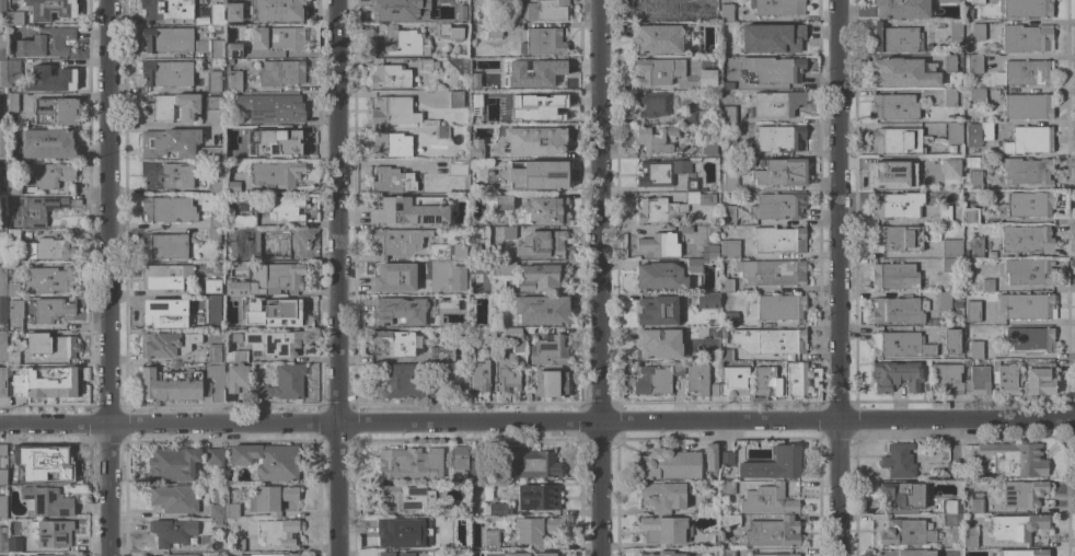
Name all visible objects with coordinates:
building: (423, 1)
building: (947, 1)
building: (976, 1)
building: (776, 7)
building: (708, 8)
building: (1026, 8)
building: (2, 9)
building: (48, 9)
building: (165, 9)
building: (655, 9)
building: (900, 9)
building: (277, 10)
building: (382, 10)
building: (544, 10)
building: (232, 12)
building: (726, 13)
building: (215, 14)
building: (968, 14)
building: (14, 19)
building: (492, 30)
building: (448, 32)
building: (978, 32)
building: (955, 33)
building: (281, 37)
building: (776, 37)
building: (894, 38)
building: (1026, 38)
building: (657, 39)
building: (171, 40)
building: (46, 42)
building: (400, 42)
building: (543, 42)
building: (2, 46)
building: (727, 46)
building: (216, 48)
building: (233, 50)
building: (9, 56)
building: (520, 63)
building: (948, 63)
building: (974, 63)
building: (427, 65)
building: (774, 69)
building: (12, 70)
building: (658, 71)
building: (280, 72)
building: (903, 72)
building: (2, 73)
building: (166, 73)
building: (1024, 73)
building: (545, 74)
building: (390, 77)
building: (50, 79)
building: (726, 79)
building: (706, 80)
building: (213, 81)
building: (234, 81)
building: (13, 90)
building: (973, 95)
building: (476, 96)
building: (949, 97)
building: (455, 100)
building: (213, 102)
building: (12, 103)
building: (651, 104)
building: (775, 104)
building: (171, 106)
building: (1028, 106)
building: (270, 107)
building: (893, 107)
building: (546, 108)
building: (393, 111)
building: (56, 112)
building: (481, 115)
building: (728, 115)
building: (694, 116)
building: (23, 124)
road: (161, 126)
building: (441, 131)
building: (955, 132)
building: (978, 134)
building: (227, 138)
building: (778, 138)
building: (654, 139)
building: (279, 140)
building: (535, 140)
building: (1028, 140)
building: (2, 141)
building: (895, 141)
building: (56, 142)
building: (170, 142)
building: (389, 143)
building: (727, 147)
building: (475, 149)
building: (702, 151)
building: (211, 153)
building: (238, 153)
building: (973, 162)
building: (456, 167)
building: (949, 169)
building: (2, 170)
building: (1027, 171)
building: (661, 172)
building: (779, 172)
building: (49, 174)
building: (276, 174)
building: (892, 174)
building: (165, 175)
building: (537, 175)
building: (391, 181)
building: (729, 182)
building: (215, 183)
building: (974, 183)
building: (691, 184)
building: (12, 186)
building: (232, 187)
building: (500, 202)
building: (1026, 204)
building: (779, 205)
building: (895, 205)
building: (286, 208)
building: (669, 208)
building: (36, 209)
building: (167, 209)
building: (409, 210)
building: (545, 210)
building: (1060, 211)
building: (944, 213)
building: (728, 215)
building: (970, 216)
building: (242, 220)
building: (215, 221)
building: (2, 222)
building: (685, 229)
building: (243, 230)
building: (508, 232)
building: (213, 234)
building: (13, 235)
building: (279, 239)
building: (897, 239)
building: (1026, 239)
building: (778, 240)
building: (395, 241)
building: (541, 243)
building: (659, 244)
building: (2, 246)
building: (163, 246)
building: (975, 246)
building: (53, 248)
building: (951, 248)
building: (729, 250)
building: (446, 252)
building: (708, 252)
building: (251, 254)
building: (694, 265)
building: (949, 265)
building: (967, 265)
building: (437, 267)
building: (502, 268)
building: (1028, 271)
building: (771, 273)
building: (165, 276)
building: (279, 276)
building: (893, 276)
road: (106, 277)
road: (598, 277)
building: (659, 277)
road: (336, 278)
building: (456, 278)
building: (543, 278)
road: (836, 278)
building: (396, 279)
building: (49, 280)
building: (2, 281)
building: (212, 283)
building: (987, 285)
building: (726, 286)
building: (236, 287)
building: (12, 290)
building: (442, 300)
building: (706, 300)
building: (943, 301)
building: (957, 303)
building: (1026, 305)
building: (777, 308)
building: (212, 309)
building: (50, 310)
building: (290, 310)
building: (540, 310)
building: (657, 310)
building: (898, 310)
building: (2, 311)
building: (972, 311)
building: (164, 313)
building: (14, 314)
building: (390, 314)
building: (729, 318)
building: (930, 321)
building: (246, 323)
building: (723, 333)
building: (511, 334)
building: (485, 336)
building: (772, 340)
building: (1029, 340)
building: (270, 341)
building: (951, 341)
building: (397, 343)
building: (165, 344)
building: (659, 344)
building: (51, 345)
building: (899, 345)
building: (2, 346)
building: (518, 346)
building: (975, 350)
building: (550, 351)
building: (14, 354)
building: (211, 354)
building: (441, 354)
building: (726, 355)
building: (234, 356)
building: (461, 360)
building: (435, 370)
building: (507, 373)
building: (479, 375)
building: (895, 375)
building: (1004, 378)
building: (656, 379)
building: (796, 379)
building: (947, 379)
building: (701, 380)
building: (765, 380)
building: (976, 380)
building: (1039, 380)
building: (733, 381)
building: (44, 382)
building: (216, 382)
building: (234, 382)
building: (404, 382)
building: (2, 383)
building: (282, 383)
building: (551, 383)
building: (169, 384)
road: (536, 420)
building: (2, 450)
building: (709, 455)
building: (13, 456)
building: (215, 457)
building: (1009, 457)
building: (726, 459)
building: (267, 461)
building: (899, 461)
building: (48, 462)
building: (458, 462)
building: (172, 463)
building: (409, 463)
building: (534, 464)
building: (670, 464)
building: (773, 464)
building: (952, 468)
building: (3, 477)
building: (727, 487)
building: (1022, 494)
building: (903, 495)
building: (405, 497)
building: (537, 497)
building: (663, 497)
building: (270, 498)
building: (174, 499)
building: (767, 500)
building: (47, 501)
building: (975, 502)
building: (216, 506)
building: (2, 507)
building: (708, 507)
building: (951, 507)
building: (495, 509)
building: (231, 510)
building: (448, 510)
building: (950, 520)
building: (729, 521)
building: (217, 522)
building: (1015, 526)
building: (534, 530)
building: (172, 531)
building: (664, 531)
building: (274, 532)
building: (402, 532)
building: (905, 532)
building: (50, 533)
building: (771, 533)
building: (970, 536)
building: (2, 540)
building: (490, 540)
building: (13, 544)
building: (236, 545)
building: (727, 553)
building: (906, 553)
building: (1021, 553)
building: (271, 554)
building: (394, 554)
building: (532, 554)
building: (663, 554)
building: (51, 555)
building: (183, 555)
building: (774, 555)

